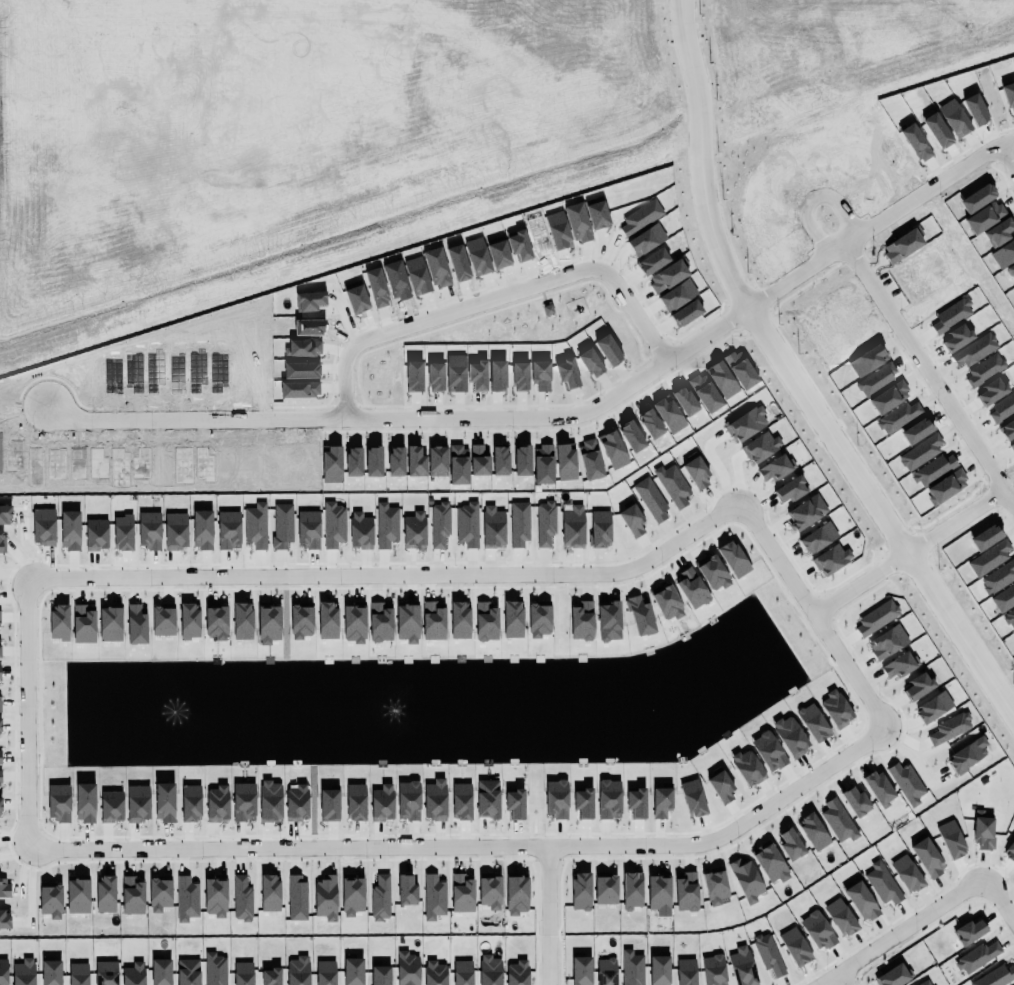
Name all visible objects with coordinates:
road: (324, 6)
road: (437, 66)
road: (309, 85)
road: (379, 146)
road: (1011, 154)
road: (494, 298)
road: (741, 298)
road: (925, 367)
road: (570, 418)
building: (746, 424)
building: (760, 447)
building: (774, 469)
building: (696, 473)
building: (672, 485)
building: (791, 490)
building: (651, 500)
building: (806, 512)
building: (5, 515)
road: (963, 518)
building: (631, 520)
building: (545, 523)
building: (439, 524)
building: (334, 525)
building: (467, 525)
building: (519, 525)
building: (256, 526)
building: (386, 526)
building: (43, 527)
building: (282, 527)
building: (572, 527)
building: (493, 528)
building: (308, 529)
building: (600, 529)
building: (70, 530)
building: (150, 530)
building: (202, 530)
building: (229, 530)
building: (175, 531)
building: (360, 531)
building: (414, 531)
building: (123, 533)
building: (96, 535)
building: (818, 538)
building: (2, 542)
building: (733, 559)
building: (831, 560)
building: (712, 573)
road: (254, 579)
road: (928, 588)
building: (692, 589)
building: (667, 603)
building: (640, 616)
road: (806, 617)
building: (0, 619)
building: (299, 619)
building: (512, 619)
building: (876, 619)
building: (163, 620)
building: (327, 620)
building: (459, 620)
building: (539, 620)
building: (189, 621)
building: (216, 621)
building: (242, 621)
building: (433, 621)
building: (582, 621)
building: (59, 622)
building: (486, 622)
building: (110, 623)
building: (268, 623)
building: (354, 623)
building: (380, 623)
building: (407, 623)
building: (83, 624)
building: (136, 624)
building: (0, 642)
building: (887, 642)
building: (898, 666)
building: (919, 686)
building: (933, 707)
building: (836, 709)
building: (813, 723)
building: (0, 729)
building: (950, 729)
building: (790, 736)
building: (769, 752)
building: (965, 757)
building: (0, 762)
building: (747, 768)
building: (0, 778)
building: (907, 783)
building: (721, 787)
building: (878, 788)
building: (693, 798)
building: (487, 799)
building: (556, 799)
building: (609, 799)
building: (408, 800)
building: (435, 800)
building: (855, 800)
building: (243, 801)
building: (461, 801)
building: (164, 802)
building: (270, 802)
building: (662, 802)
building: (59, 803)
building: (85, 803)
building: (137, 803)
building: (190, 803)
building: (296, 803)
building: (355, 803)
building: (382, 803)
building: (583, 803)
building: (636, 803)
building: (217, 804)
building: (514, 804)
building: (329, 805)
building: (0, 806)
building: (111, 806)
building: (837, 820)
building: (982, 828)
building: (813, 832)
building: (790, 840)
building: (951, 840)
road: (468, 850)
building: (1009, 851)
building: (927, 858)
building: (770, 863)
building: (907, 874)
building: (746, 881)
building: (882, 881)
building: (715, 886)
building: (406, 887)
building: (4, 888)
building: (489, 888)
building: (686, 888)
building: (606, 889)
building: (581, 891)
building: (632, 891)
building: (658, 891)
building: (269, 893)
building: (462, 893)
building: (78, 894)
building: (105, 894)
building: (159, 894)
building: (215, 894)
building: (132, 895)
building: (352, 895)
building: (516, 896)
building: (297, 897)
building: (434, 897)
building: (325, 898)
building: (380, 898)
building: (186, 899)
building: (242, 899)
building: (51, 900)
building: (861, 900)
road: (996, 901)
building: (839, 914)
building: (4, 916)
road: (541, 917)
building: (817, 931)
building: (969, 931)
road: (903, 934)
building: (795, 947)
building: (768, 954)
building: (976, 954)
building: (631, 966)
building: (742, 967)
building: (406, 968)
building: (659, 968)
building: (215, 969)
building: (489, 969)
building: (712, 969)
building: (160, 970)
building: (352, 970)
building: (298, 971)
building: (581, 971)
building: (606, 971)
building: (3, 972)
building: (24, 972)
building: (51, 972)
building: (188, 972)
building: (242, 972)
building: (325, 972)
building: (516, 972)
building: (686, 972)
building: (77, 973)
building: (106, 973)
building: (434, 973)
building: (462, 973)
building: (134, 974)
building: (380, 975)
building: (995, 975)
building: (270, 976)
building: (892, 976)
road: (843, 981)
building: (925, 983)

